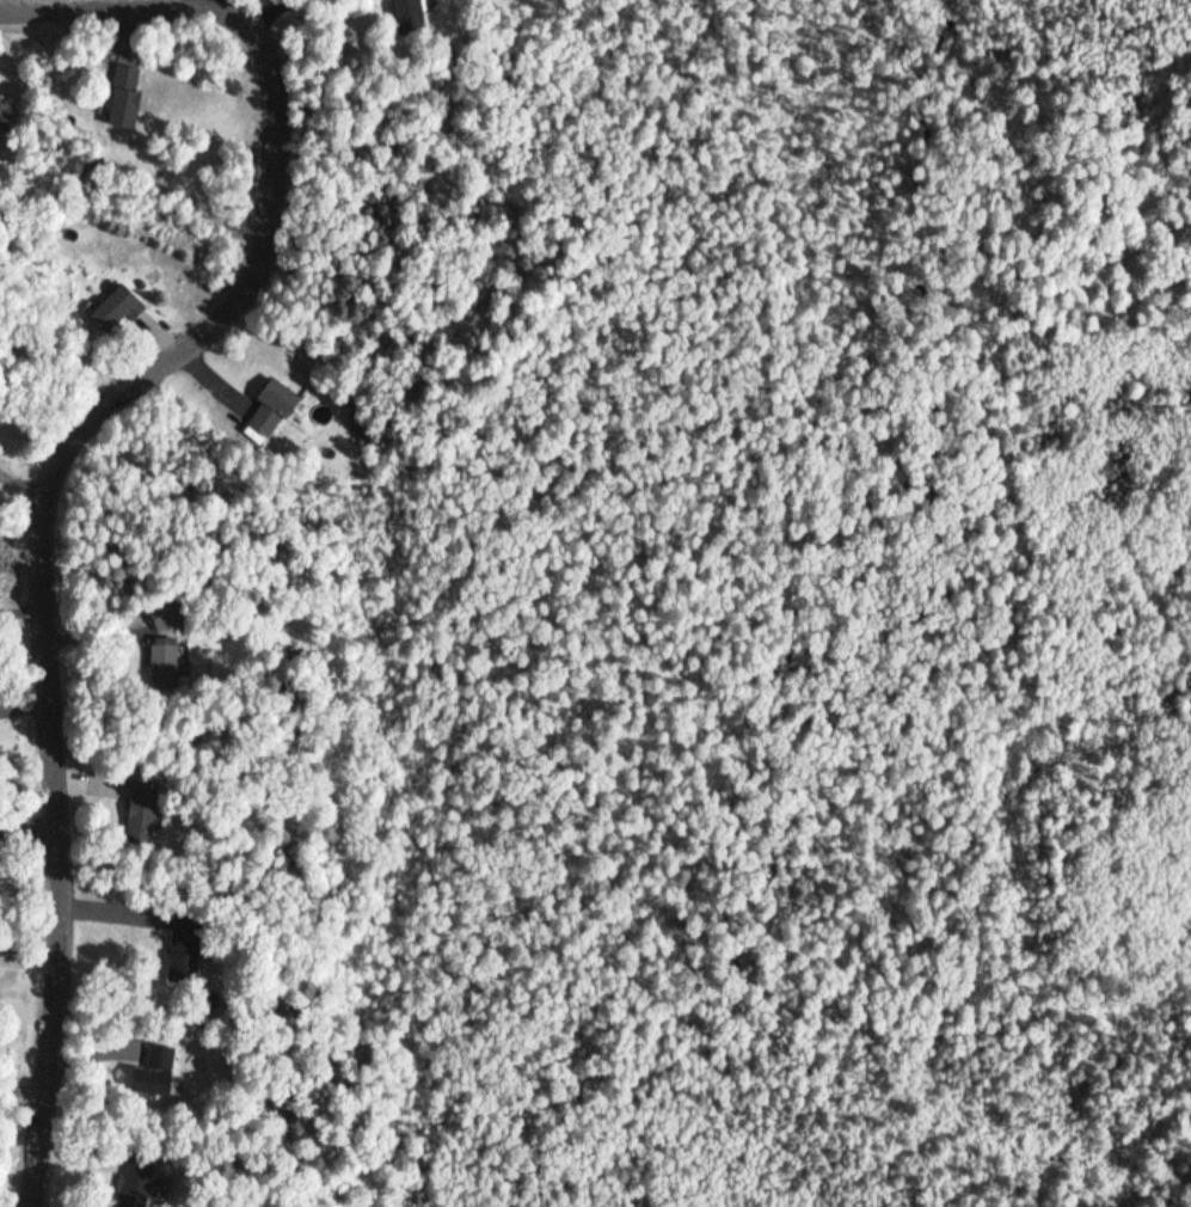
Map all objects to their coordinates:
building: (410, 10)
building: (130, 97)
building: (10, 112)
building: (118, 308)
building: (278, 406)
road: (69, 466)
building: (172, 615)
building: (171, 662)
building: (146, 804)
building: (190, 939)
building: (161, 1068)
building: (140, 1185)

